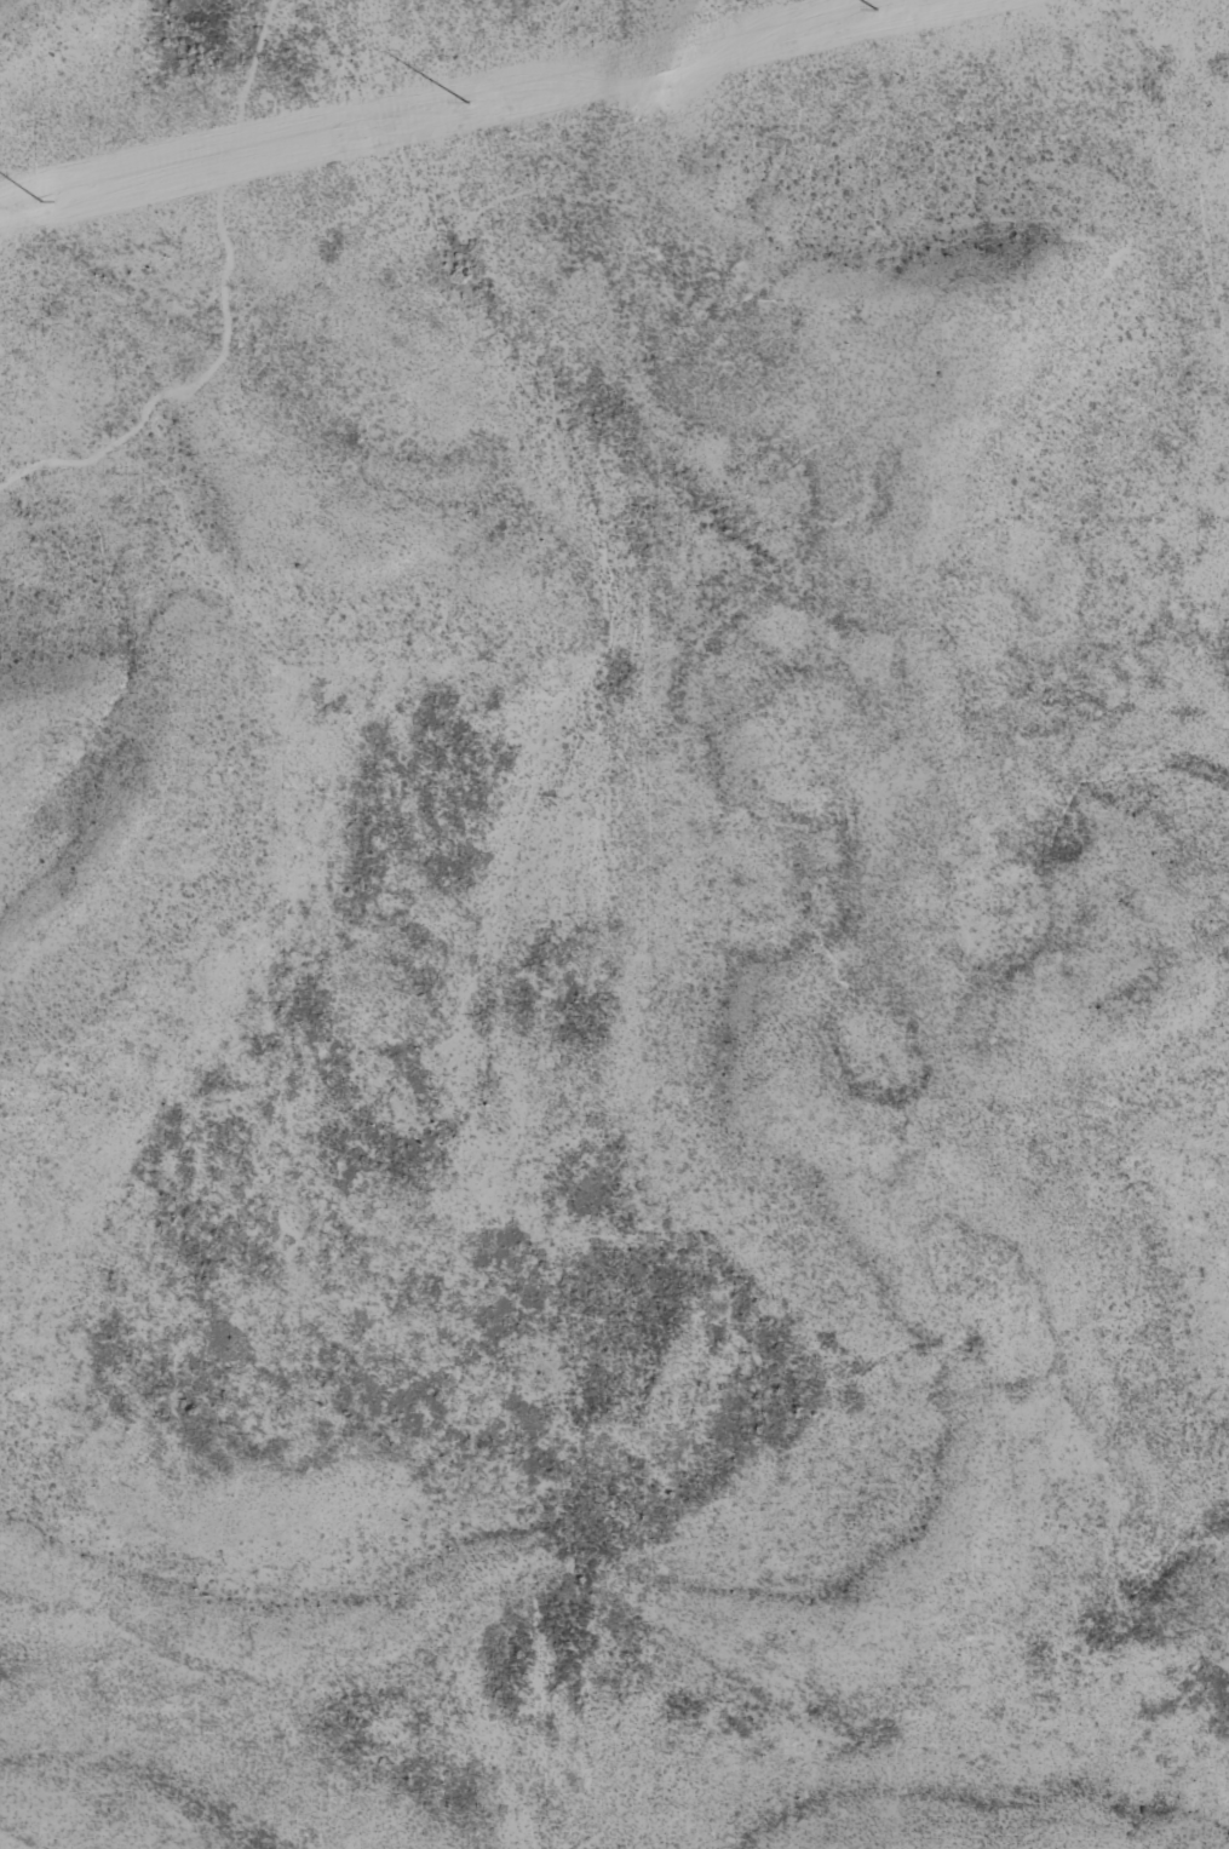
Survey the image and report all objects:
power tower: (880, 10)
power tower: (470, 104)
power tower: (41, 203)

